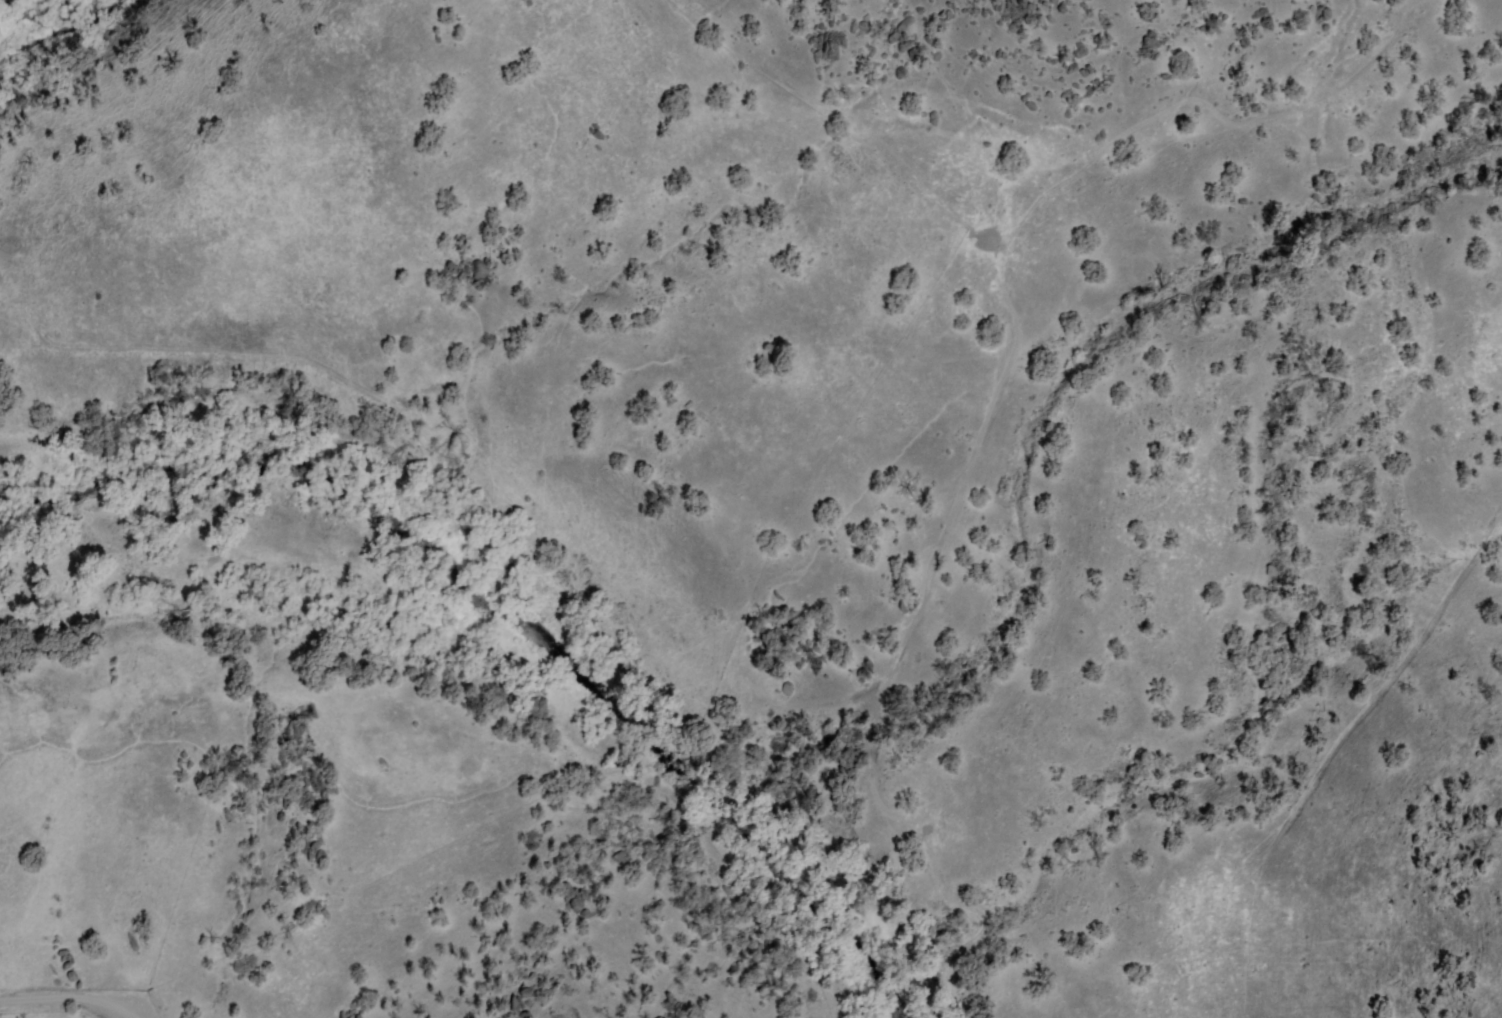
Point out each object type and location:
road: (47, 998)

